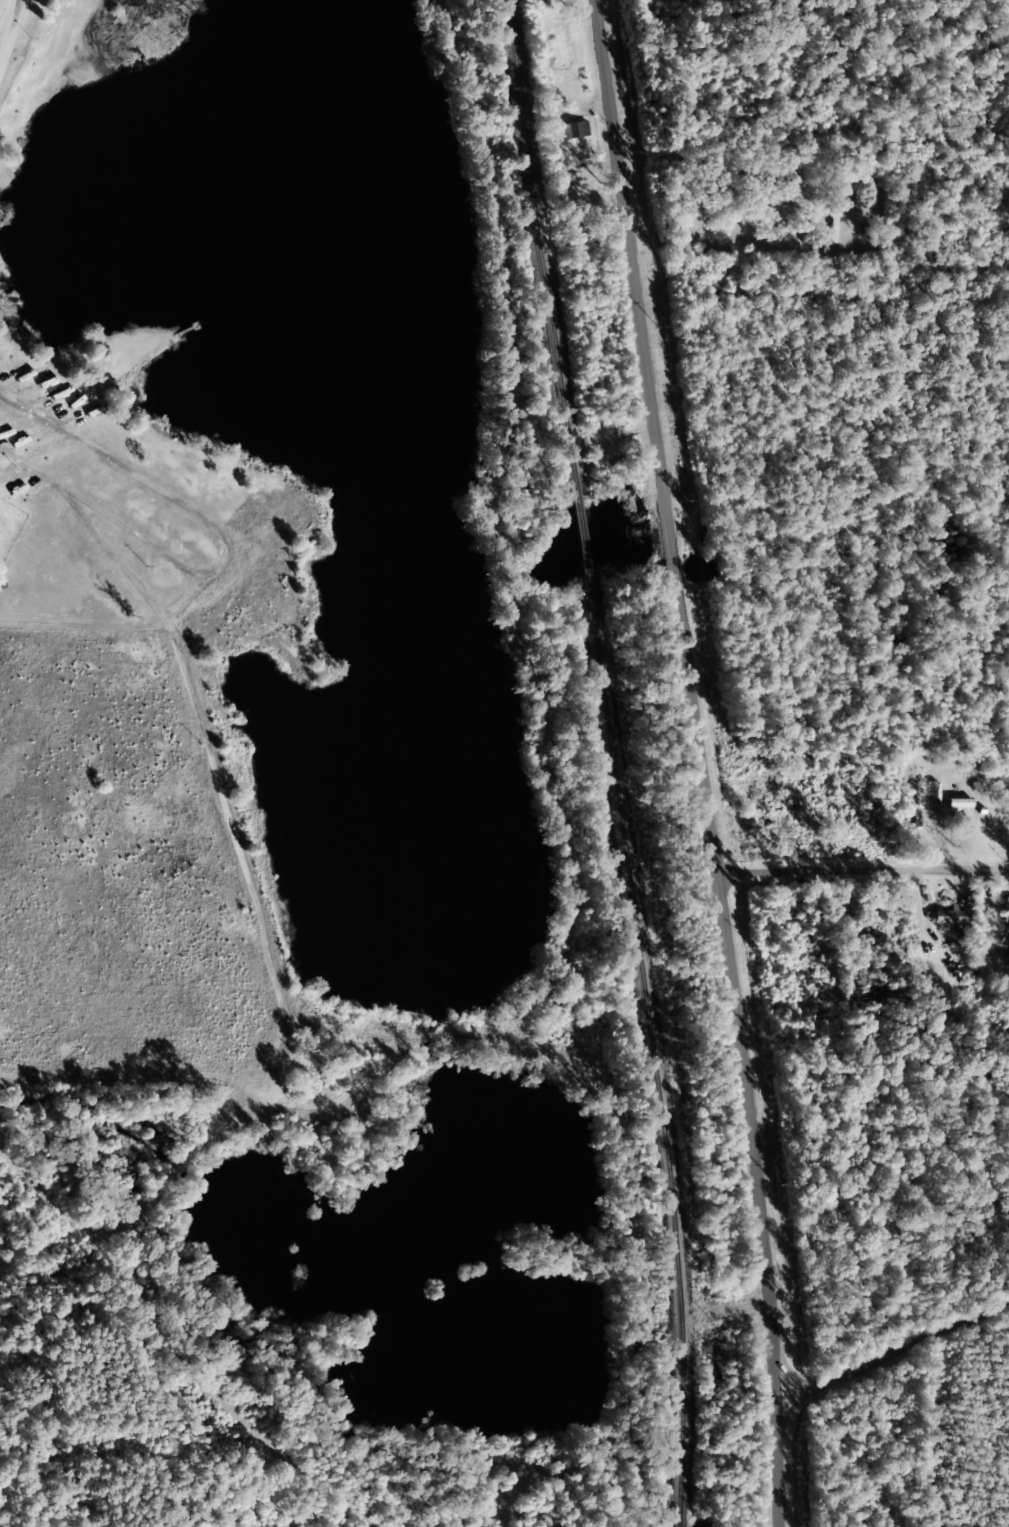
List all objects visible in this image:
road: (17, 26)
building: (558, 49)
building: (573, 129)
railway: (571, 474)
road: (703, 762)
building: (926, 793)
road: (241, 862)
road: (862, 867)
building: (949, 916)
railway: (670, 1227)
road: (178, 1348)
road: (892, 1355)
railway: (678, 1517)
building: (477, 1525)

